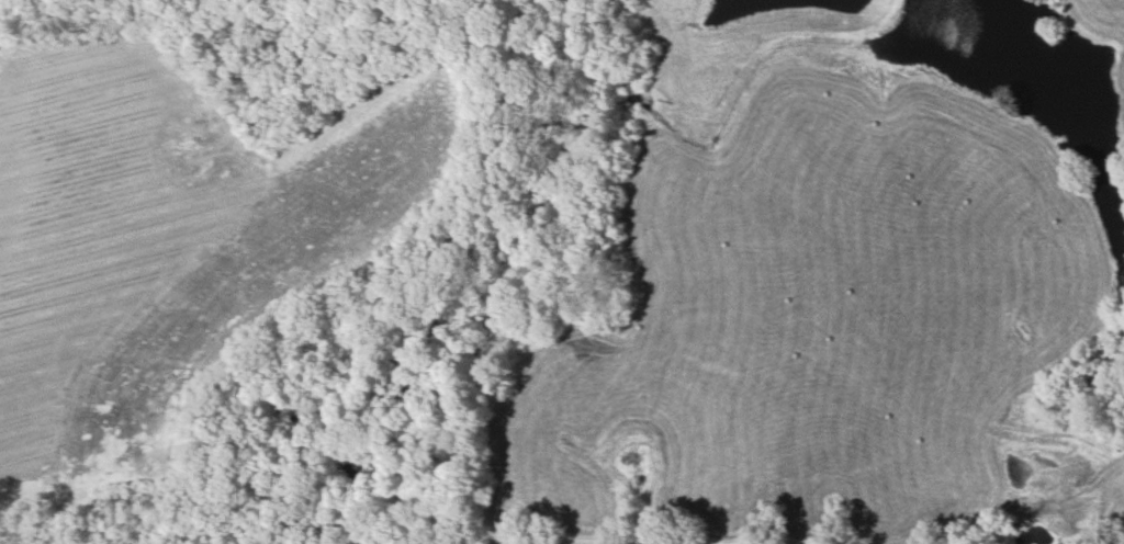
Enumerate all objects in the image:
crop: (798, 311)

